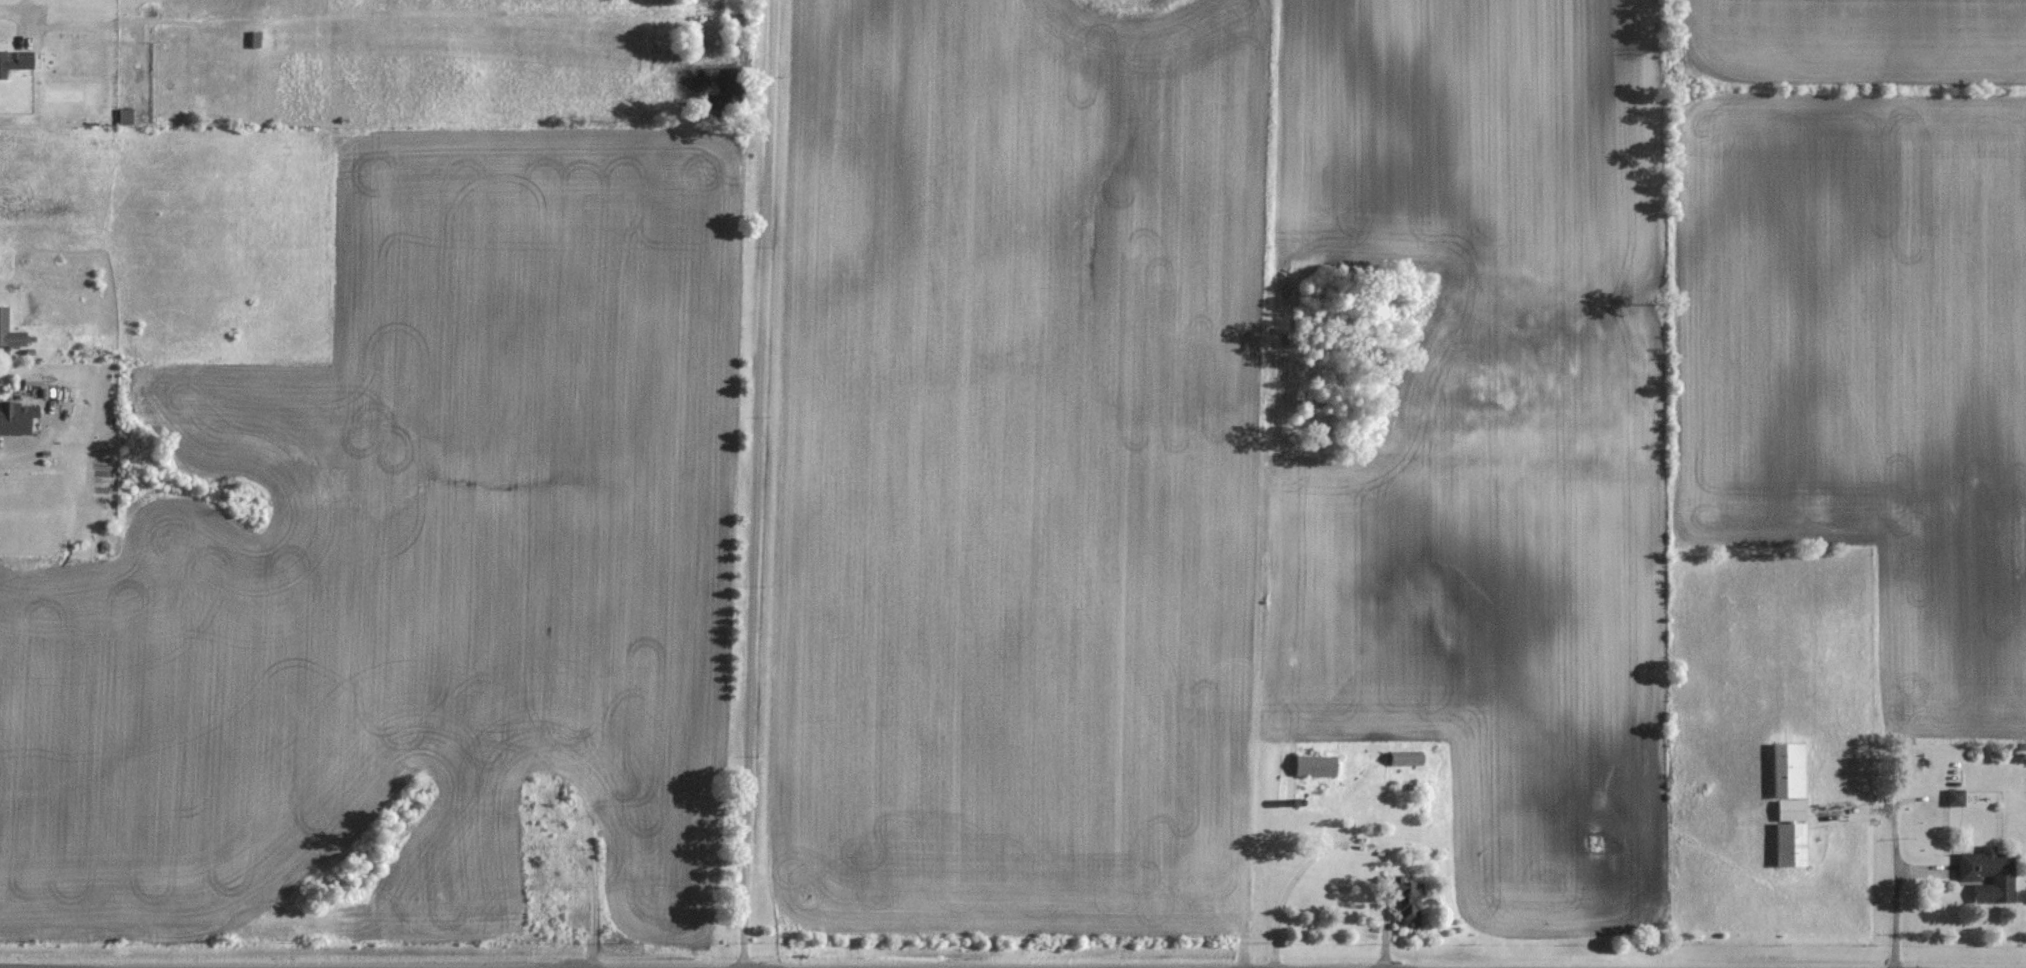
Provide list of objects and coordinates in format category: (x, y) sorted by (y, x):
road: (11, 13)
building: (16, 61)
building: (10, 331)
building: (14, 419)
road: (757, 484)
building: (1407, 758)
building: (1316, 764)
building: (1956, 797)
building: (1790, 804)
building: (1989, 874)
road: (1288, 887)
building: (1410, 902)
road: (1893, 919)

